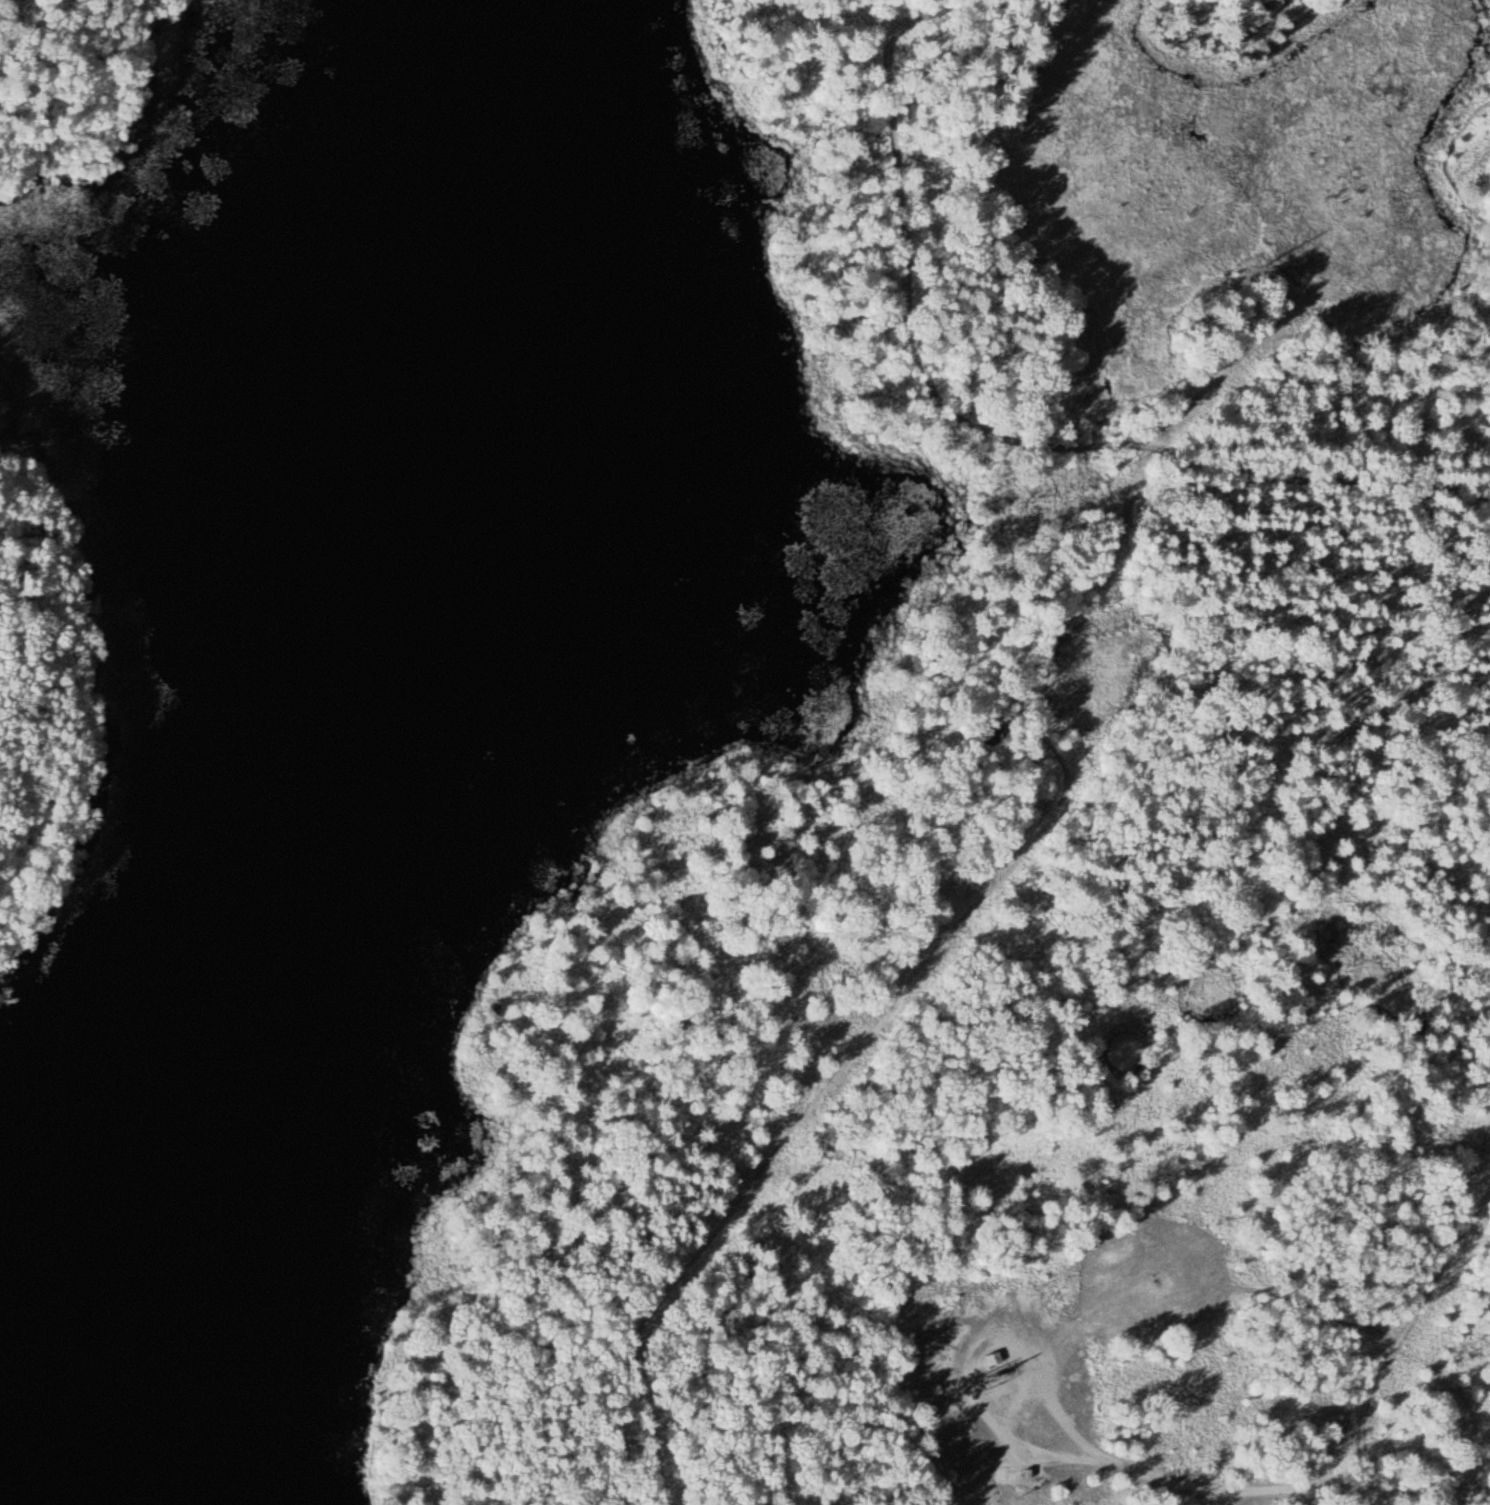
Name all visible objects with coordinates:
road: (1021, 398)
road: (1390, 1344)
petroleum well: (995, 1371)
road: (1254, 1482)

